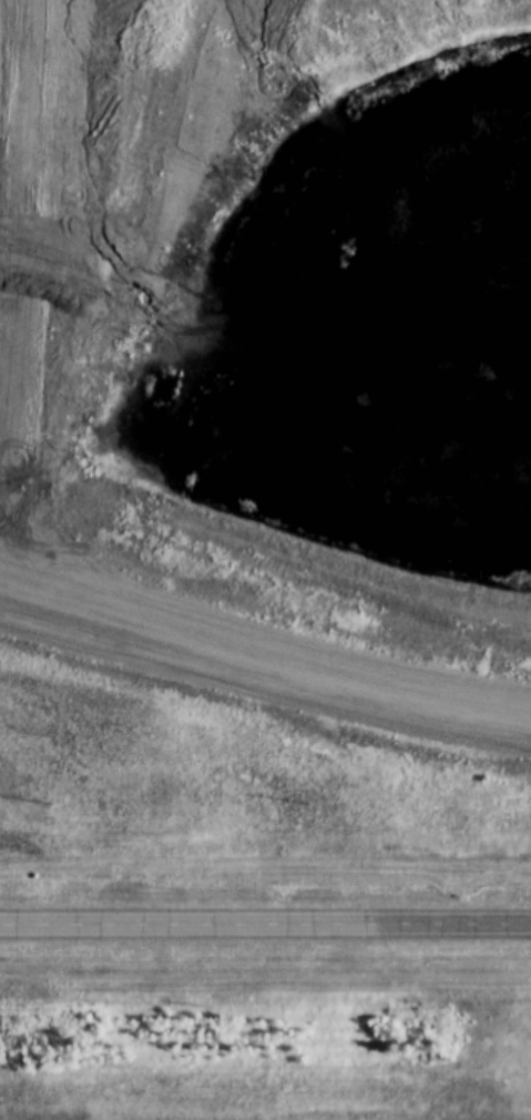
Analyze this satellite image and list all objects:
road: (265, 924)
quarry: (262, 1101)

